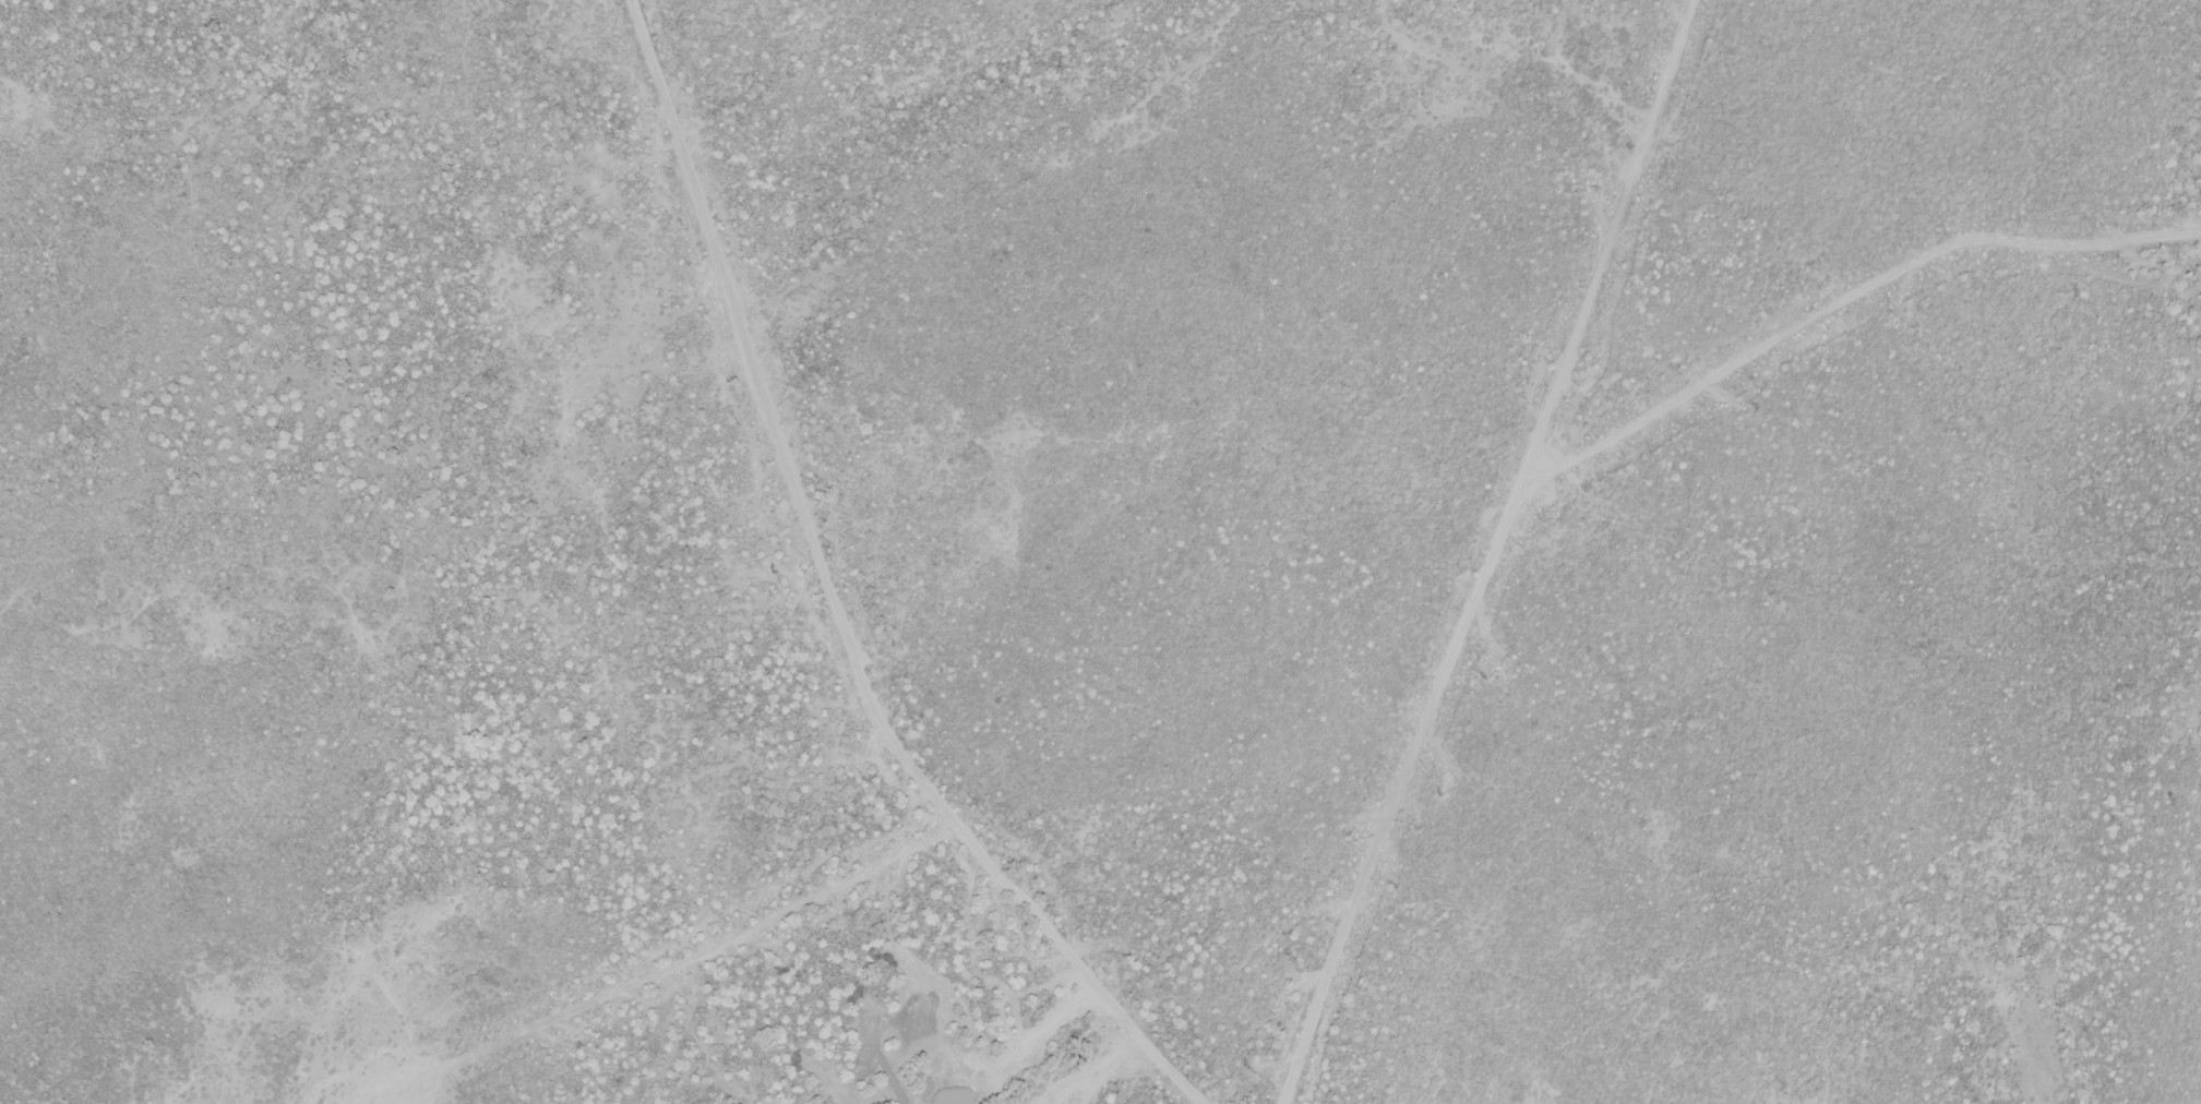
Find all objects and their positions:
road: (1493, 554)
road: (833, 600)
road: (1865, 615)
road: (665, 970)

